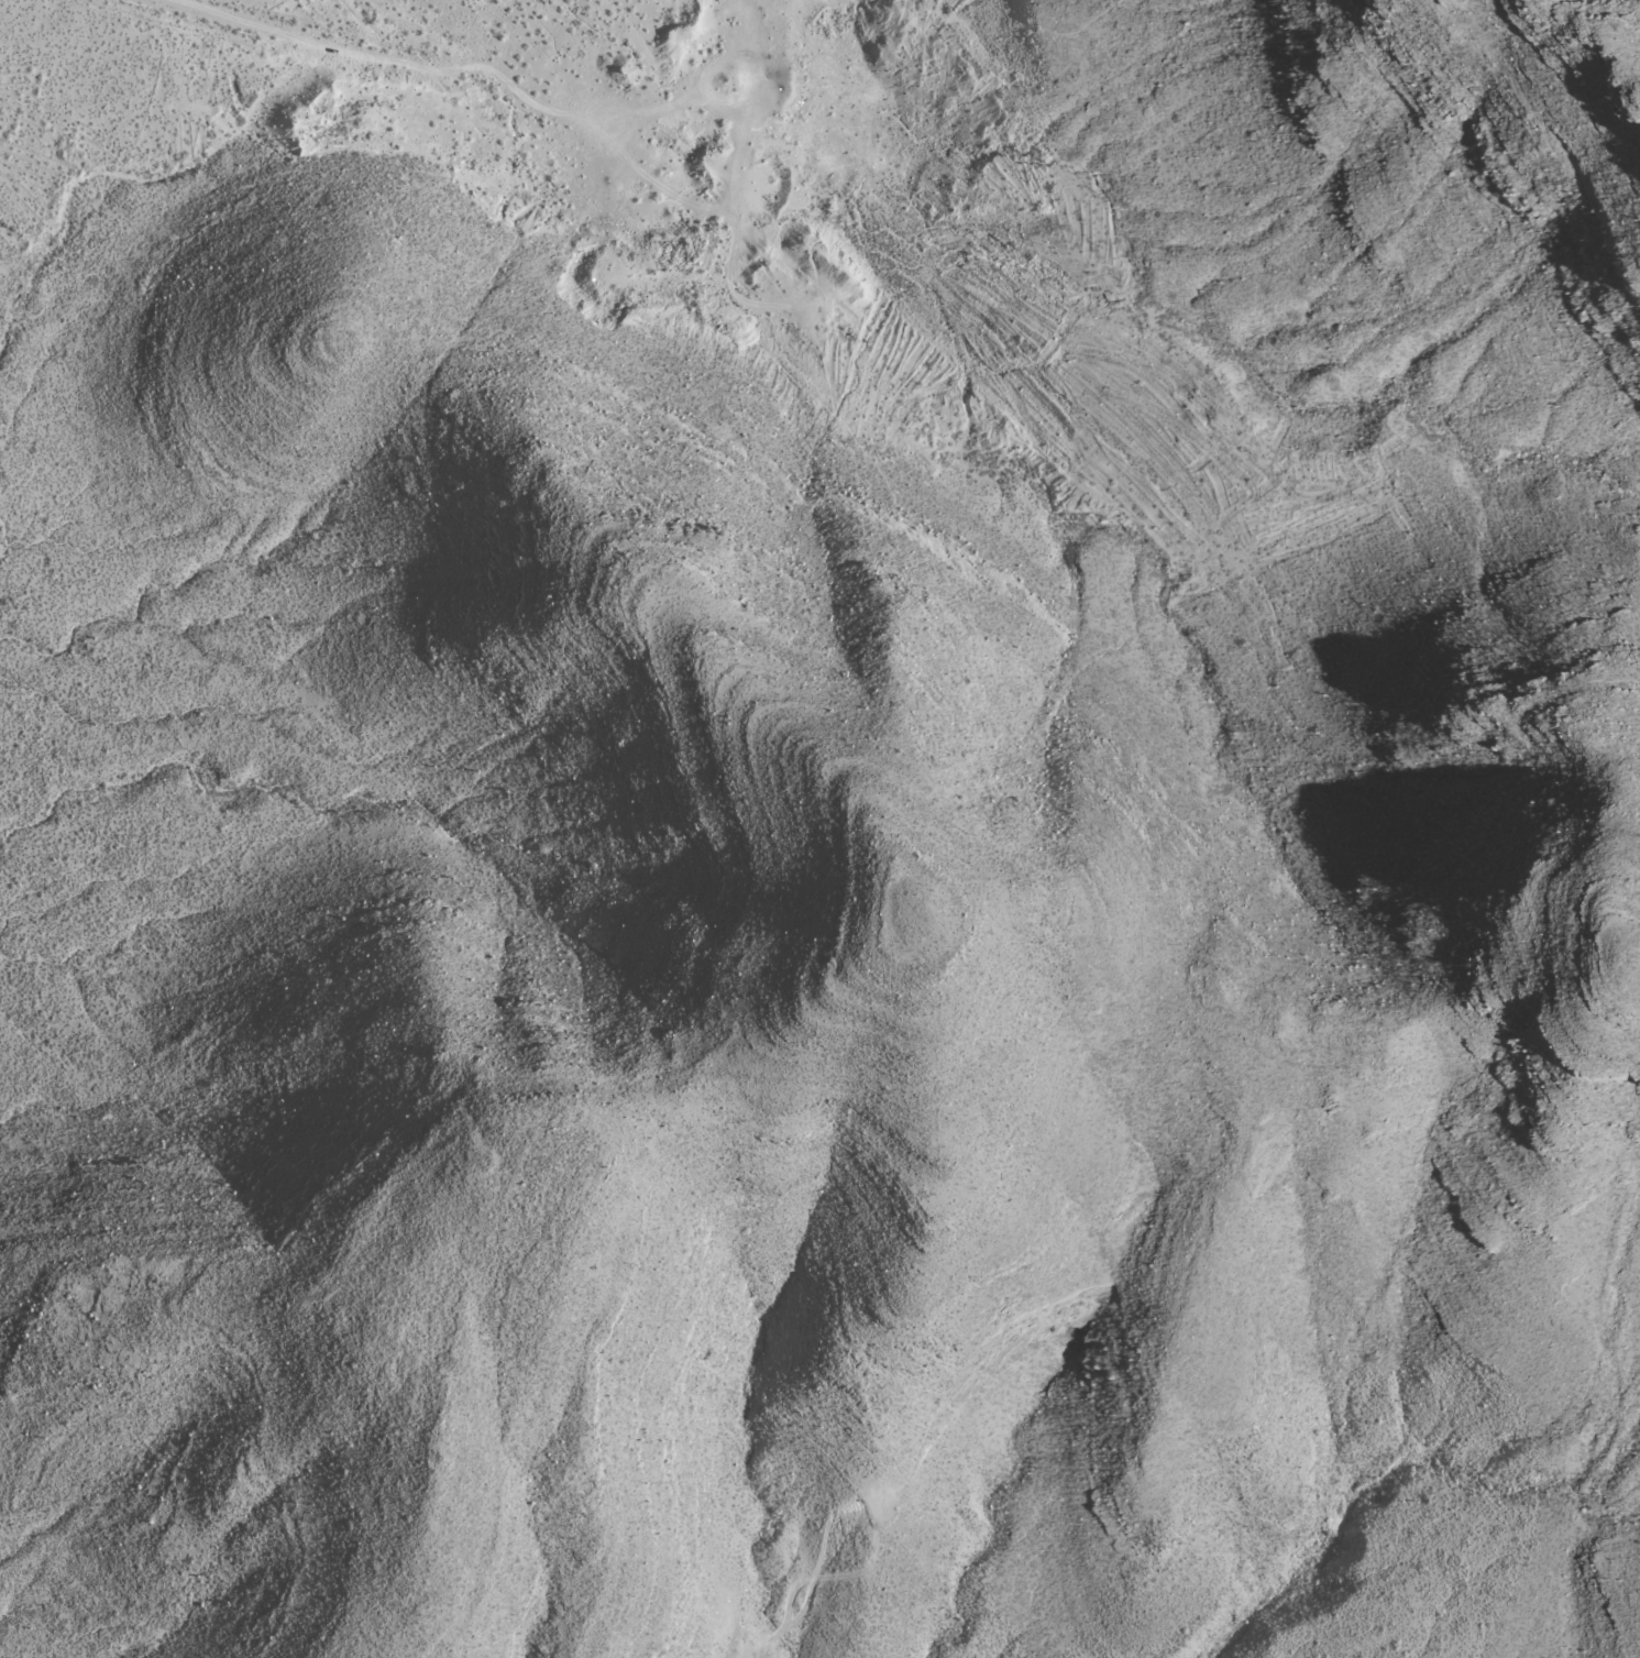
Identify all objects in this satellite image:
road: (808, 1582)

